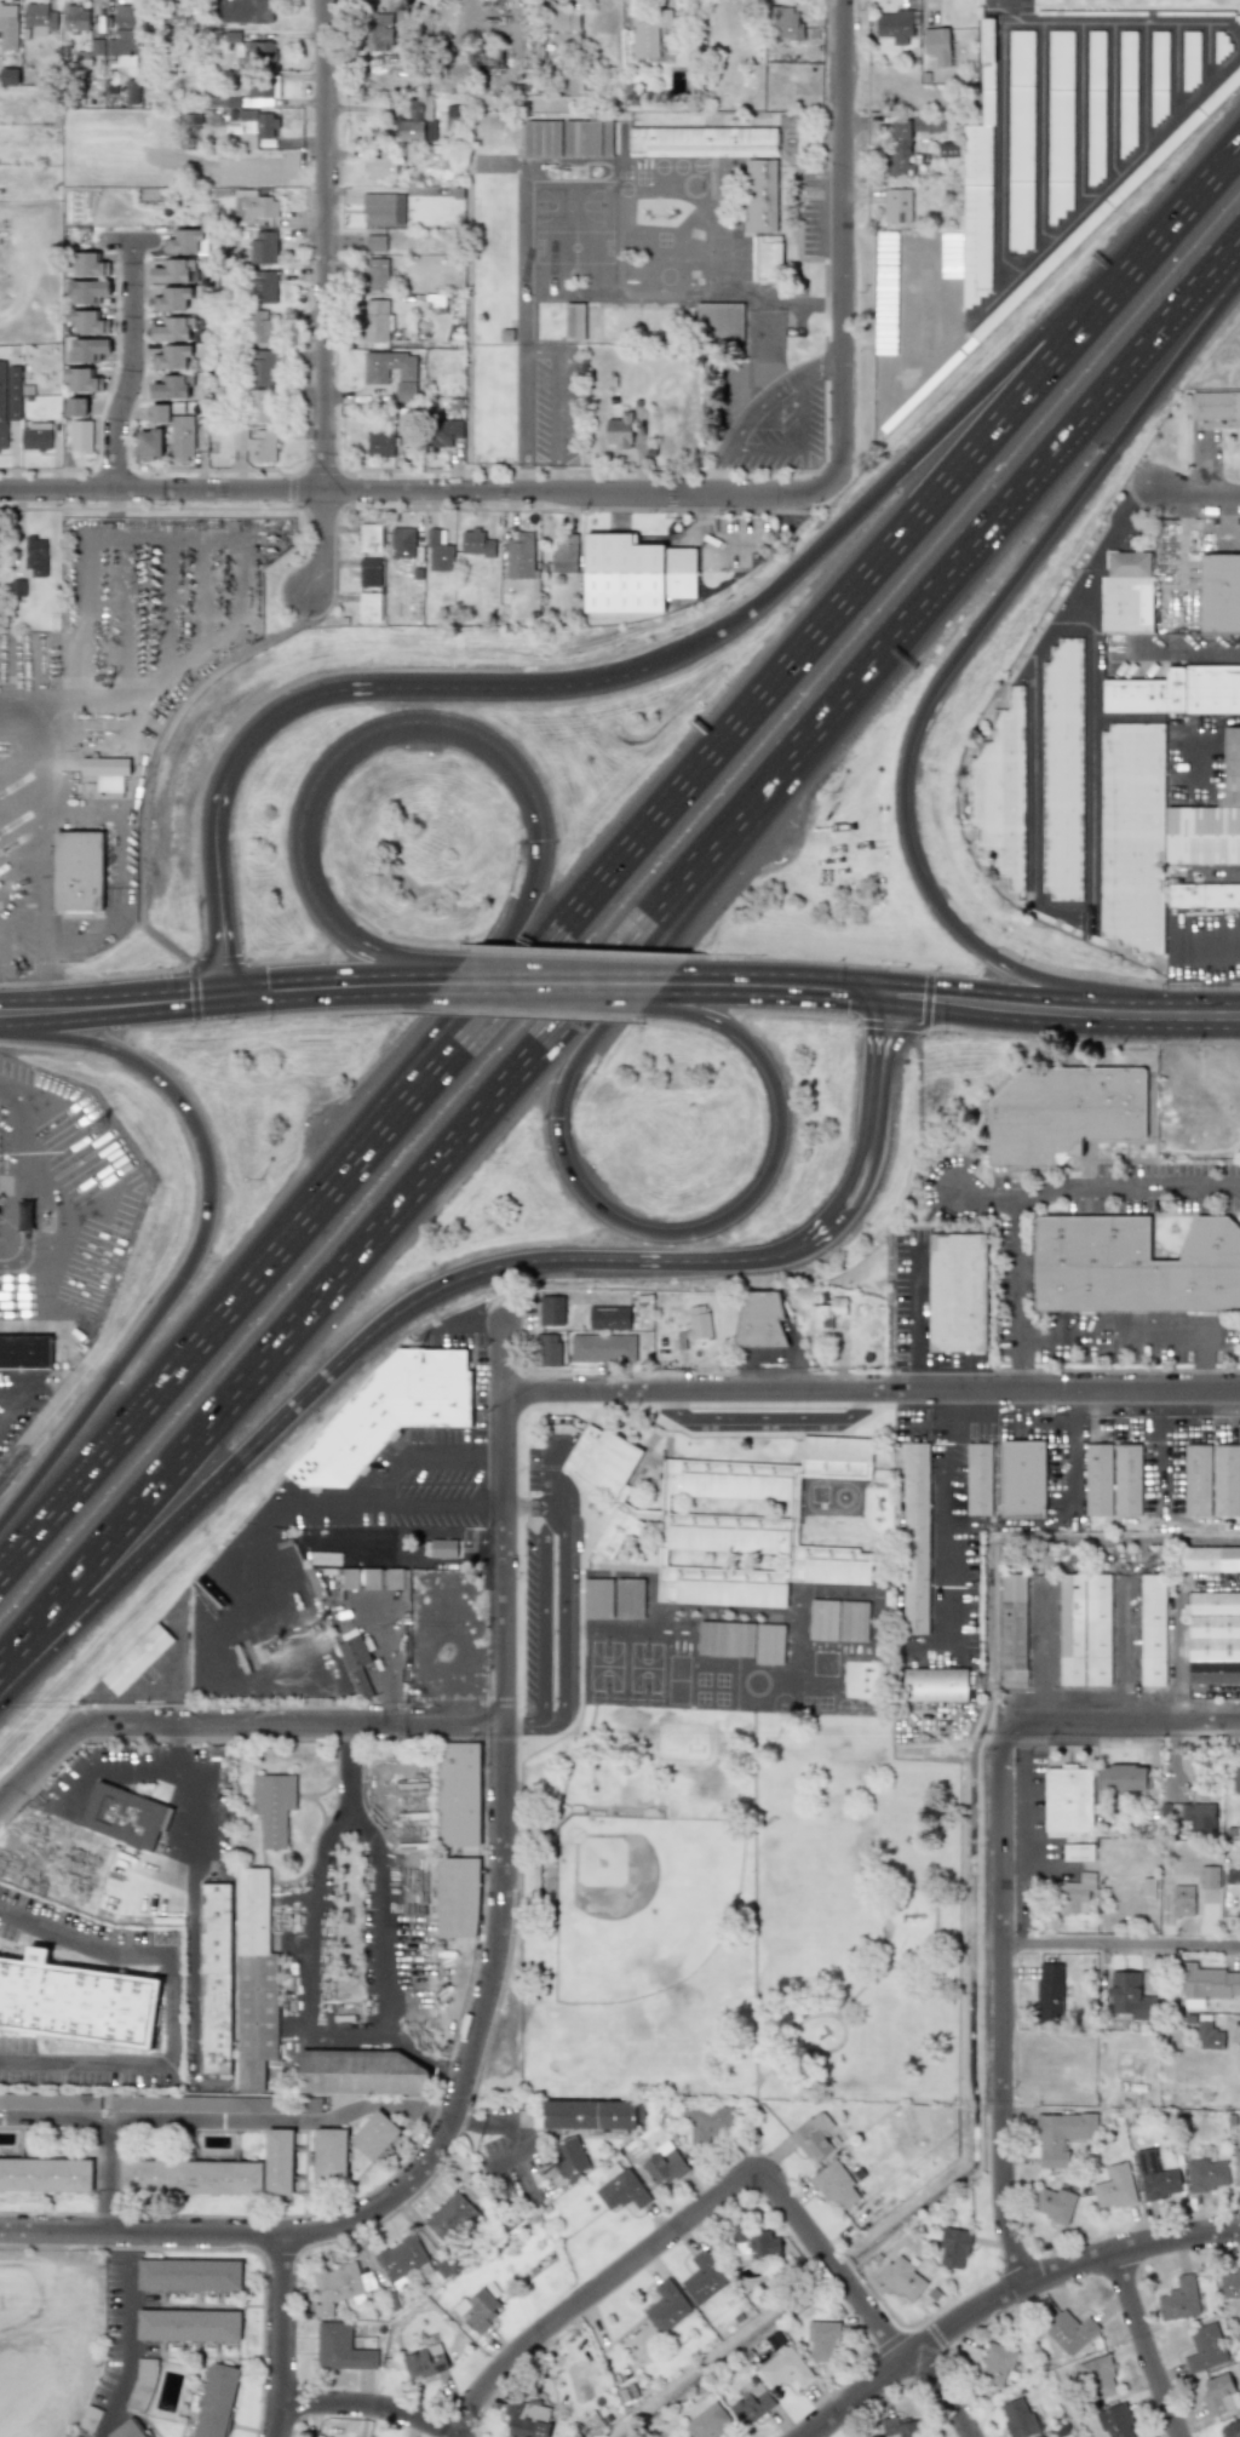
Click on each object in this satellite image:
building: (246, 11)
building: (40, 17)
building: (173, 17)
building: (76, 18)
building: (563, 18)
building: (787, 22)
building: (896, 24)
building: (8, 25)
building: (377, 31)
road: (998, 34)
building: (122, 35)
building: (649, 35)
road: (1239, 42)
building: (936, 46)
building: (262, 51)
road: (1210, 56)
road: (1176, 71)
building: (10, 75)
road: (1146, 85)
building: (132, 91)
building: (262, 91)
road: (1113, 101)
building: (1095, 107)
building: (453, 116)
road: (1078, 117)
building: (417, 121)
building: (1058, 122)
building: (928, 124)
building: (257, 126)
road: (1041, 134)
building: (568, 138)
building: (1020, 141)
building: (702, 142)
building: (900, 148)
building: (381, 165)
road: (1116, 173)
building: (977, 185)
building: (762, 194)
building: (896, 205)
building: (259, 206)
building: (383, 207)
road: (127, 240)
building: (185, 241)
building: (375, 242)
road: (844, 242)
building: (263, 246)
building: (768, 259)
building: (87, 264)
building: (173, 271)
building: (377, 274)
building: (265, 286)
building: (87, 291)
road: (323, 297)
building: (172, 299)
building: (377, 320)
building: (574, 321)
building: (638, 321)
building: (719, 321)
building: (87, 322)
building: (258, 325)
building: (173, 328)
road: (540, 349)
building: (88, 350)
building: (171, 357)
road: (132, 365)
building: (263, 366)
road: (822, 368)
building: (391, 373)
building: (81, 379)
building: (173, 386)
building: (8, 397)
road: (758, 405)
building: (77, 406)
building: (260, 406)
building: (1215, 406)
road: (953, 420)
building: (176, 430)
building: (618, 430)
building: (446, 432)
building: (35, 436)
building: (81, 436)
building: (147, 443)
building: (257, 443)
building: (381, 443)
road: (800, 447)
road: (721, 470)
road: (523, 476)
road: (553, 476)
road: (417, 491)
road: (1201, 493)
building: (369, 538)
building: (402, 543)
building: (476, 543)
building: (438, 551)
building: (36, 552)
building: (564, 554)
building: (519, 556)
building: (371, 572)
building: (636, 574)
building: (1126, 592)
building: (1218, 592)
building: (369, 606)
road: (1167, 649)
road: (948, 673)
road: (415, 688)
building: (1177, 690)
road: (1123, 719)
road: (45, 733)
road: (1195, 736)
road: (352, 744)
building: (1233, 767)
building: (1062, 770)
building: (107, 773)
building: (1000, 792)
building: (1204, 835)
building: (1132, 836)
road: (624, 861)
road: (1032, 866)
building: (79, 870)
road: (220, 887)
building: (1204, 895)
road: (21, 900)
road: (615, 948)
road: (1205, 948)
road: (408, 969)
road: (552, 982)
road: (222, 993)
traffic signals: (230, 993)
traffic signals: (882, 993)
road: (908, 996)
road: (1198, 1015)
road: (434, 1023)
road: (889, 1023)
building: (1063, 1113)
power tower: (104, 1128)
road: (867, 1137)
road: (23, 1157)
road: (918, 1185)
road: (579, 1188)
road: (1037, 1192)
road: (989, 1194)
road: (203, 1243)
road: (27, 1245)
building: (1132, 1266)
road: (50, 1288)
building: (957, 1292)
building: (551, 1309)
building: (826, 1313)
building: (608, 1317)
building: (759, 1319)
building: (697, 1321)
road: (23, 1329)
road: (1144, 1335)
building: (602, 1348)
building: (549, 1349)
building: (25, 1352)
road: (340, 1357)
road: (871, 1392)
building: (389, 1412)
road: (965, 1417)
road: (1038, 1417)
road: (1160, 1445)
road: (1067, 1451)
road: (492, 1455)
road: (545, 1473)
building: (978, 1479)
building: (1022, 1479)
building: (1097, 1479)
building: (1126, 1479)
building: (1225, 1479)
building: (1196, 1480)
building: (605, 1484)
road: (375, 1486)
road: (522, 1504)
road: (493, 1506)
road: (424, 1507)
road: (941, 1526)
building: (751, 1527)
building: (914, 1538)
building: (442, 1548)
building: (1210, 1559)
building: (350, 1578)
building: (385, 1578)
building: (597, 1598)
building: (628, 1598)
road: (542, 1613)
road: (561, 1618)
power tower: (320, 1628)
building: (1012, 1629)
building: (1084, 1629)
building: (1152, 1630)
building: (1213, 1638)
building: (725, 1639)
road: (1038, 1652)
road: (1124, 1652)
road: (1178, 1657)
building: (137, 1658)
building: (355, 1663)
road: (177, 1669)
building: (935, 1684)
road: (157, 1687)
road: (522, 1722)
road: (289, 1725)
road: (1129, 1727)
road: (348, 1732)
road: (176, 1748)
road: (216, 1749)
road: (38, 1761)
road: (101, 1770)
building: (1123, 1777)
building: (1235, 1778)
building: (458, 1794)
building: (1067, 1800)
building: (272, 1806)
building: (1179, 1812)
building: (1202, 1814)
building: (125, 1816)
road: (214, 1825)
road: (1026, 1835)
building: (1078, 1851)
road: (1040, 1856)
building: (1209, 1876)
building: (1148, 1886)
building: (1077, 1892)
building: (457, 1897)
building: (1183, 1899)
park: (741, 1913)
road: (394, 1917)
road: (752, 1932)
road: (1121, 1946)
road: (298, 1956)
road: (908, 1956)
road: (191, 1957)
road: (495, 1976)
building: (214, 1978)
building: (254, 1980)
building: (1207, 1984)
building: (1050, 1991)
building: (1130, 1996)
building: (76, 2001)
road: (172, 2003)
road: (1004, 2003)
road: (1232, 2024)
building: (1209, 2036)
road: (837, 2045)
road: (455, 2070)
building: (363, 2072)
building: (50, 2100)
building: (193, 2103)
building: (589, 2114)
road: (283, 2120)
road: (105, 2123)
road: (493, 2123)
building: (710, 2123)
building: (373, 2134)
building: (813, 2135)
building: (1061, 2135)
building: (329, 2154)
building: (569, 2156)
building: (277, 2161)
building: (662, 2164)
building: (1236, 2167)
building: (45, 2174)
power tower: (556, 2174)
building: (1207, 2174)
building: (190, 2177)
building: (1155, 2177)
building: (836, 2185)
road: (730, 2186)
building: (1114, 2187)
building: (621, 2190)
building: (1054, 2203)
building: (449, 2218)
road: (74, 2238)
building: (754, 2242)
building: (953, 2247)
building: (401, 2259)
road: (62, 2267)
road: (85, 2269)
building: (189, 2275)
building: (702, 2278)
building: (902, 2278)
building: (1230, 2284)
building: (338, 2286)
road: (1007, 2293)
building: (1179, 2299)
road: (73, 2304)
building: (666, 2306)
building: (476, 2311)
building: (188, 2326)
building: (1068, 2332)
road: (280, 2336)
building: (821, 2339)
road: (75, 2343)
road: (1143, 2344)
building: (1205, 2347)
building: (340, 2349)
road: (130, 2350)
building: (424, 2361)
building: (995, 2363)
building: (782, 2367)
building: (1098, 2378)
building: (1218, 2393)
building: (216, 2399)
building: (751, 2404)
road: (367, 2406)
building: (1017, 2418)
building: (526, 2419)
building: (707, 2421)
building: (1116, 2421)
building: (901, 2427)
building: (1229, 2429)
building: (127, 2430)
building: (314, 2436)

